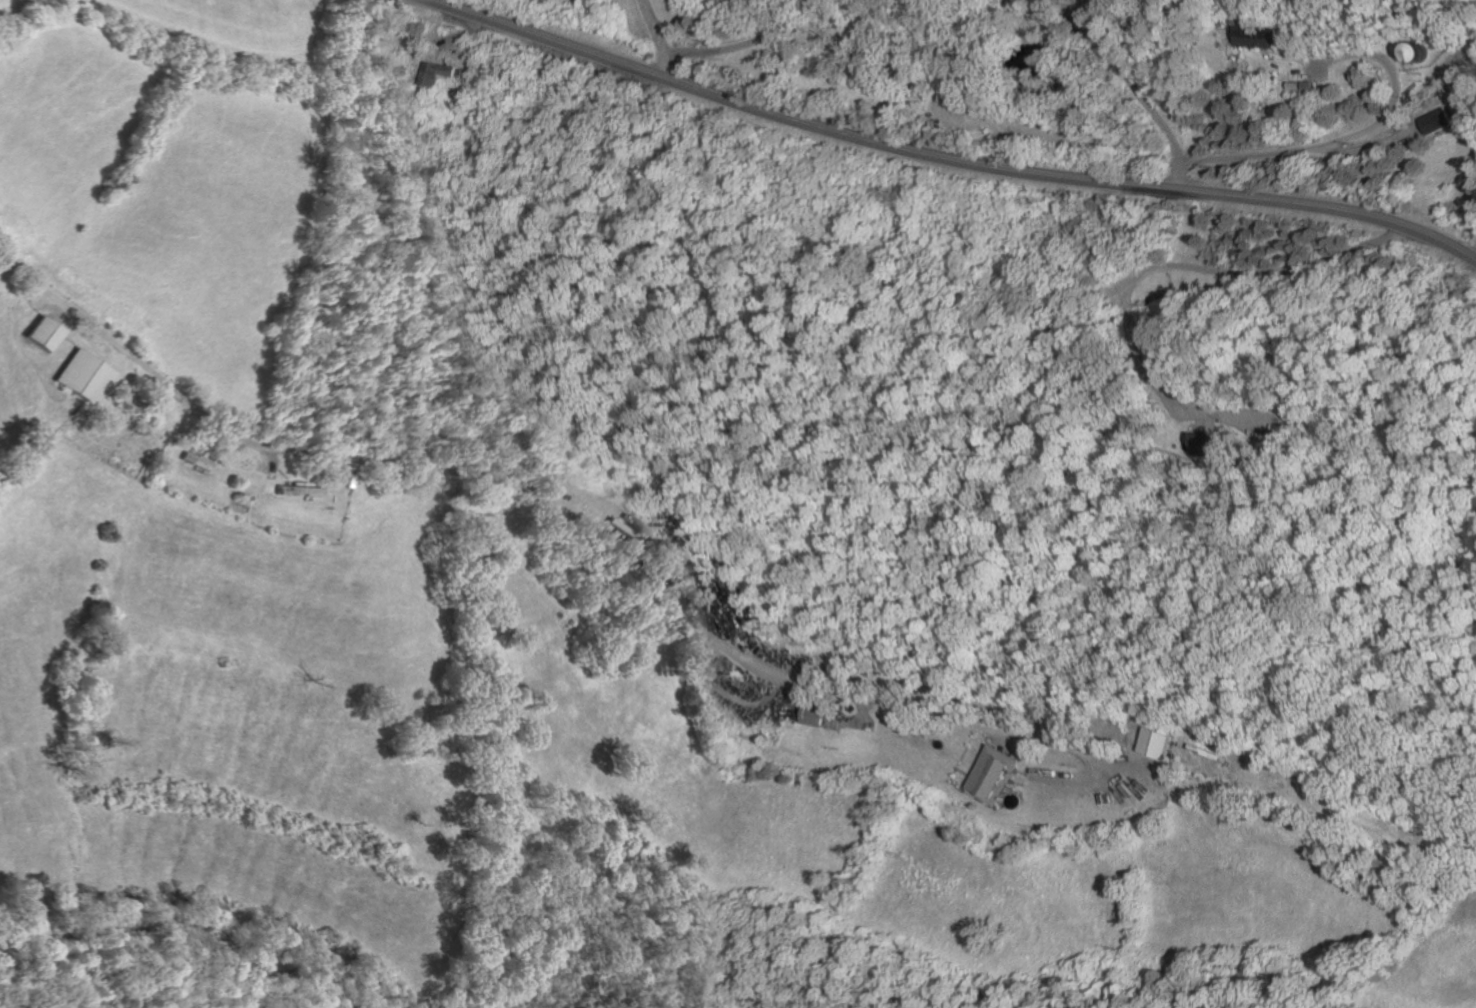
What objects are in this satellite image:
road: (647, 26)
road: (457, 32)
building: (1259, 37)
road: (740, 44)
water tower: (1417, 53)
road: (1377, 57)
road: (659, 65)
building: (468, 66)
building: (397, 72)
building: (429, 73)
road: (1126, 82)
building: (1292, 86)
road: (1393, 109)
building: (1430, 122)
road: (1359, 148)
road: (1242, 154)
road: (945, 158)
road: (1176, 176)
road: (1470, 252)
road: (1142, 269)
building: (43, 333)
building: (81, 377)
building: (1215, 445)
road: (231, 446)
road: (265, 460)
building: (195, 461)
building: (154, 472)
building: (345, 481)
building: (297, 491)
building: (244, 497)
road: (571, 525)
road: (721, 619)
road: (766, 701)
building: (818, 713)
road: (864, 724)
road: (1015, 741)
building: (1166, 742)
building: (998, 770)
road: (1083, 780)
road: (1321, 826)

